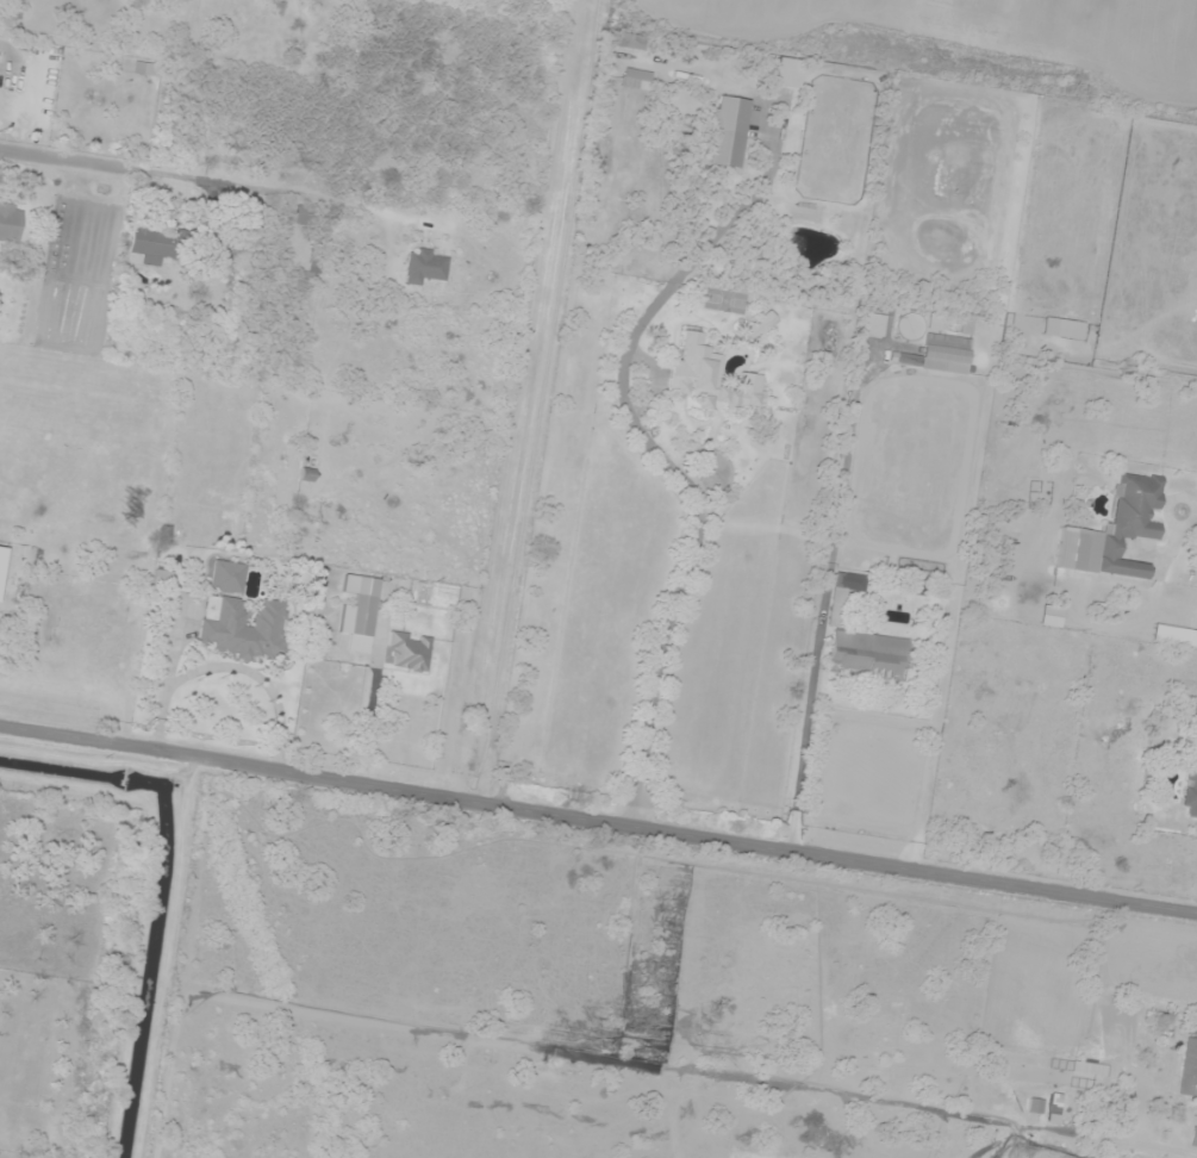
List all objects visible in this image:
building: (146, 69)
building: (635, 79)
building: (729, 132)
building: (310, 217)
building: (11, 224)
building: (158, 247)
building: (426, 267)
building: (313, 272)
building: (760, 326)
building: (947, 354)
building: (711, 379)
building: (1116, 531)
building: (229, 578)
building: (362, 604)
building: (243, 627)
building: (409, 652)
building: (869, 654)
building: (1191, 795)
road: (598, 822)
building: (1189, 1066)
building: (1193, 1137)
road: (1148, 1150)

